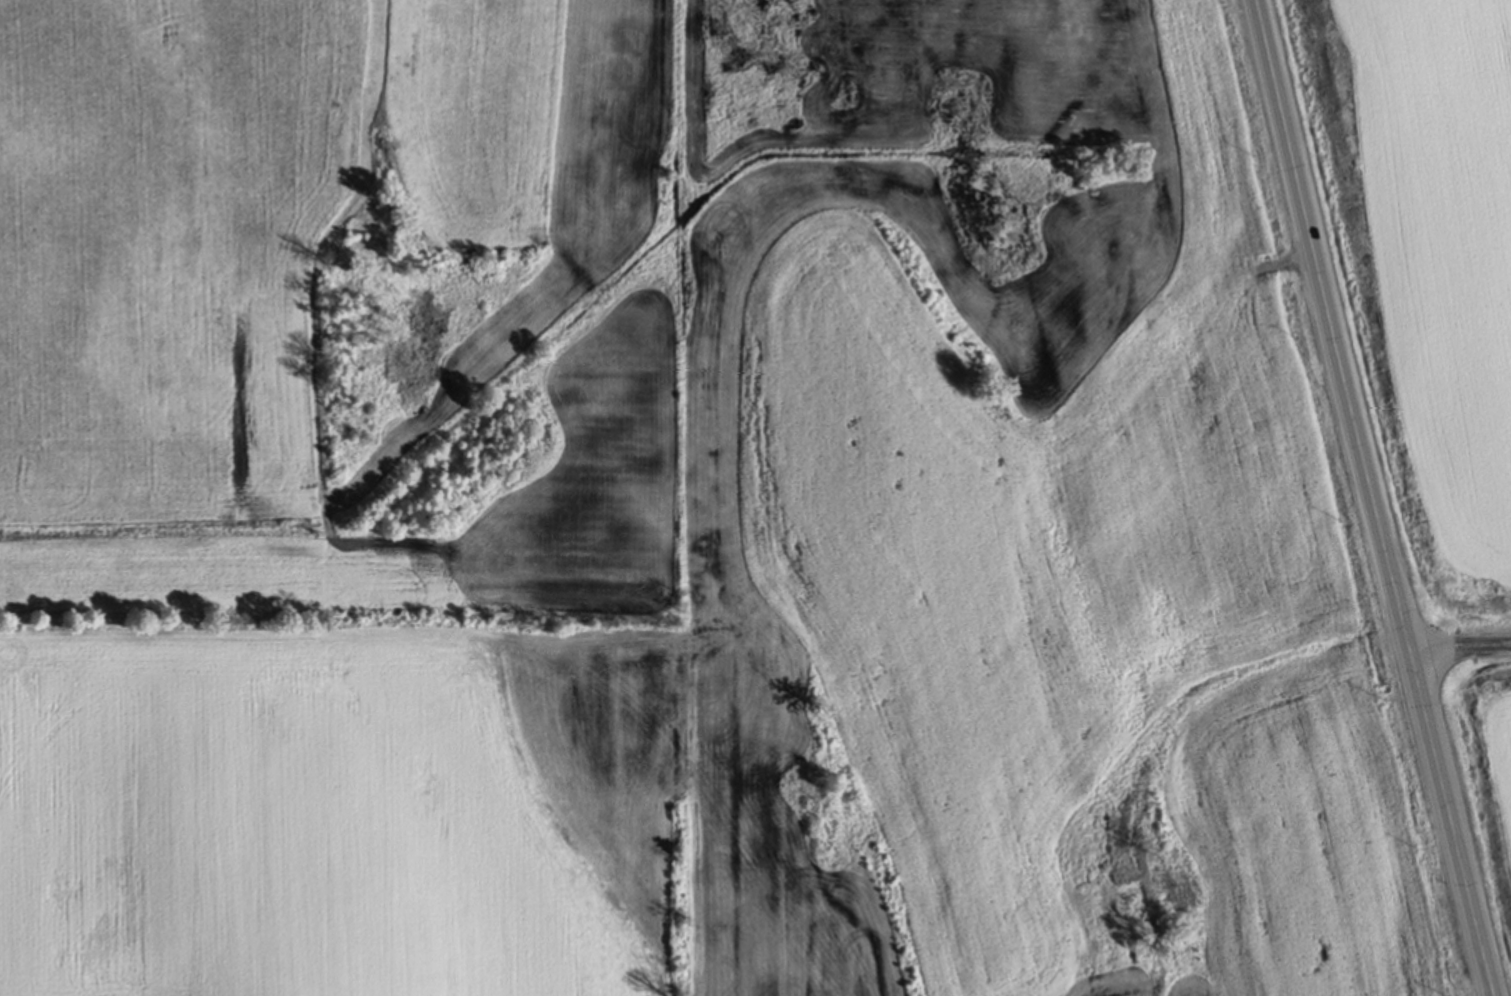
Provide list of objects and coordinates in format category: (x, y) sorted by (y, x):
road: (1373, 498)
road: (1460, 643)

